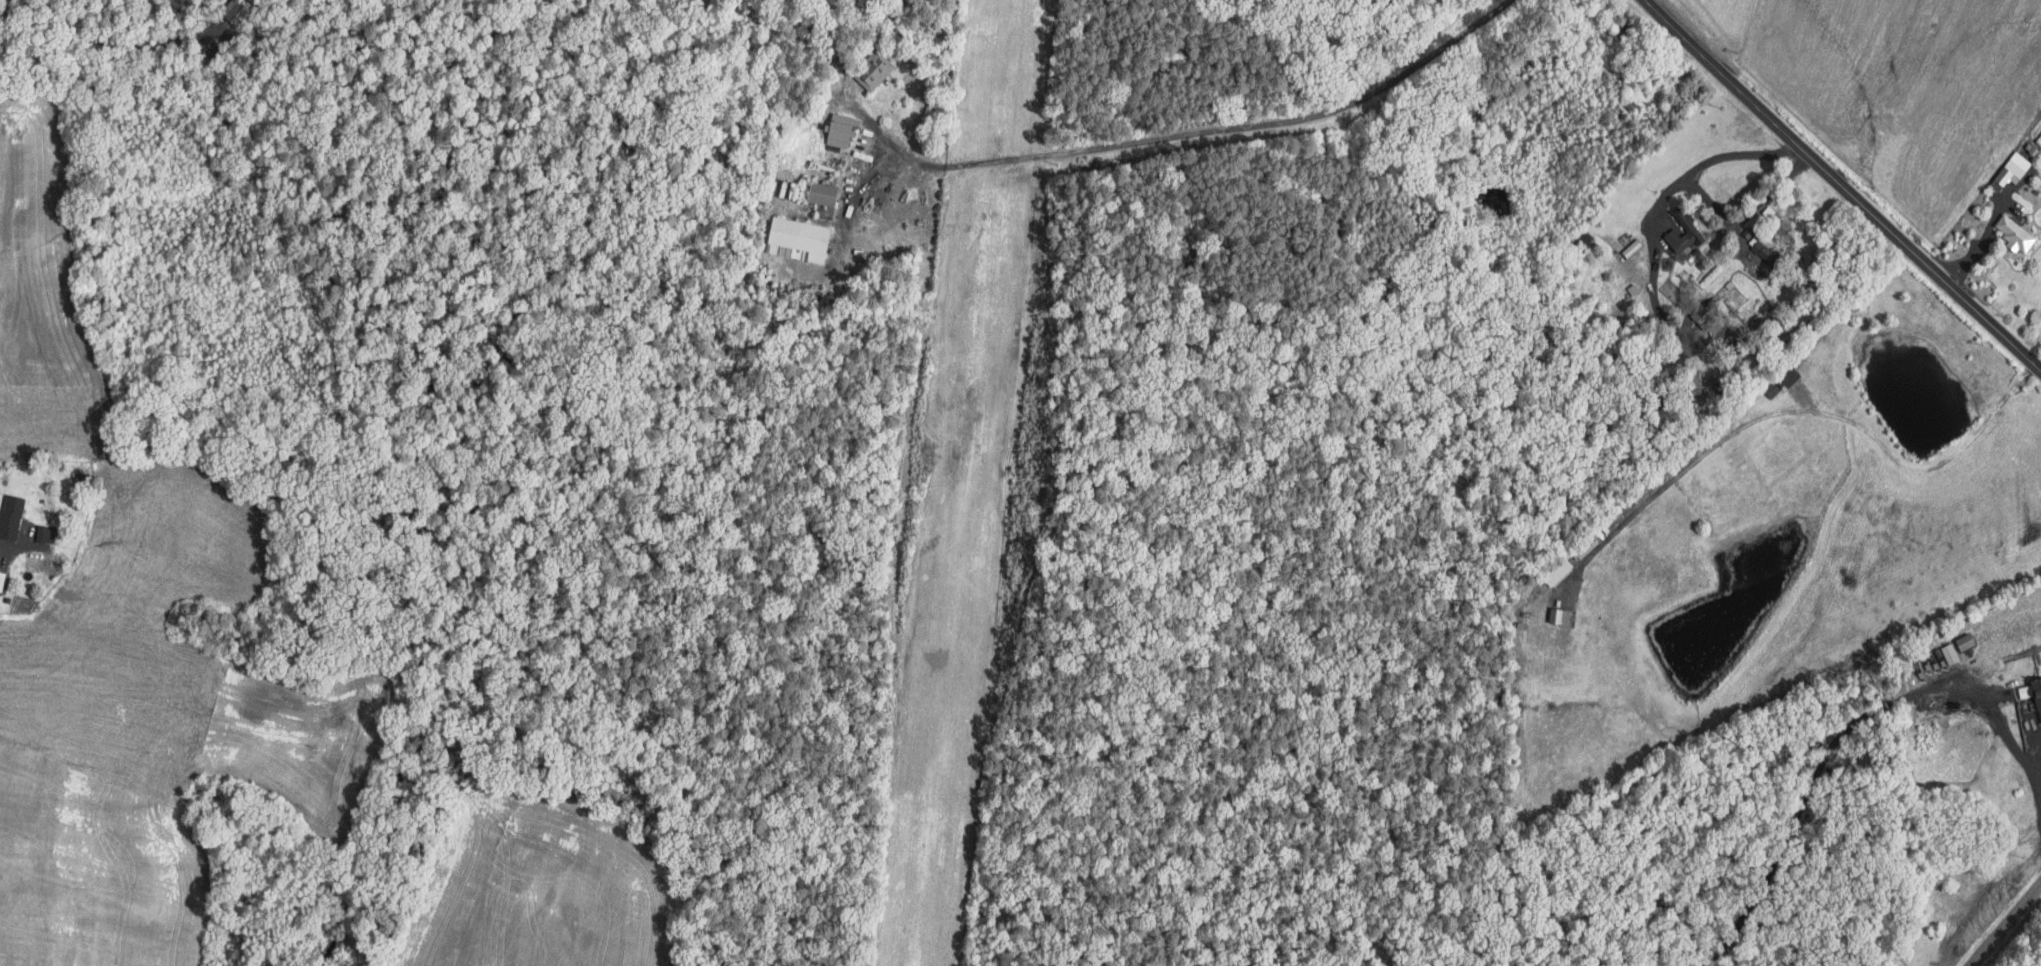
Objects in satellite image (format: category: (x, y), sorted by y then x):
building: (237, 10)
road: (118, 44)
building: (874, 69)
building: (841, 129)
road: (1185, 133)
road: (1707, 163)
building: (2012, 171)
road: (1840, 183)
building: (822, 193)
road: (1747, 213)
building: (2017, 233)
building: (1685, 234)
building: (799, 238)
road: (1981, 242)
building: (1633, 247)
building: (1766, 252)
building: (1714, 304)
building: (1703, 316)
building: (1790, 378)
road: (1083, 433)
airport runway: (967, 483)
building: (13, 517)
building: (45, 538)
building: (2, 580)
building: (1561, 616)
building: (1966, 641)
building: (2031, 689)
road: (2001, 718)
road: (2003, 921)

